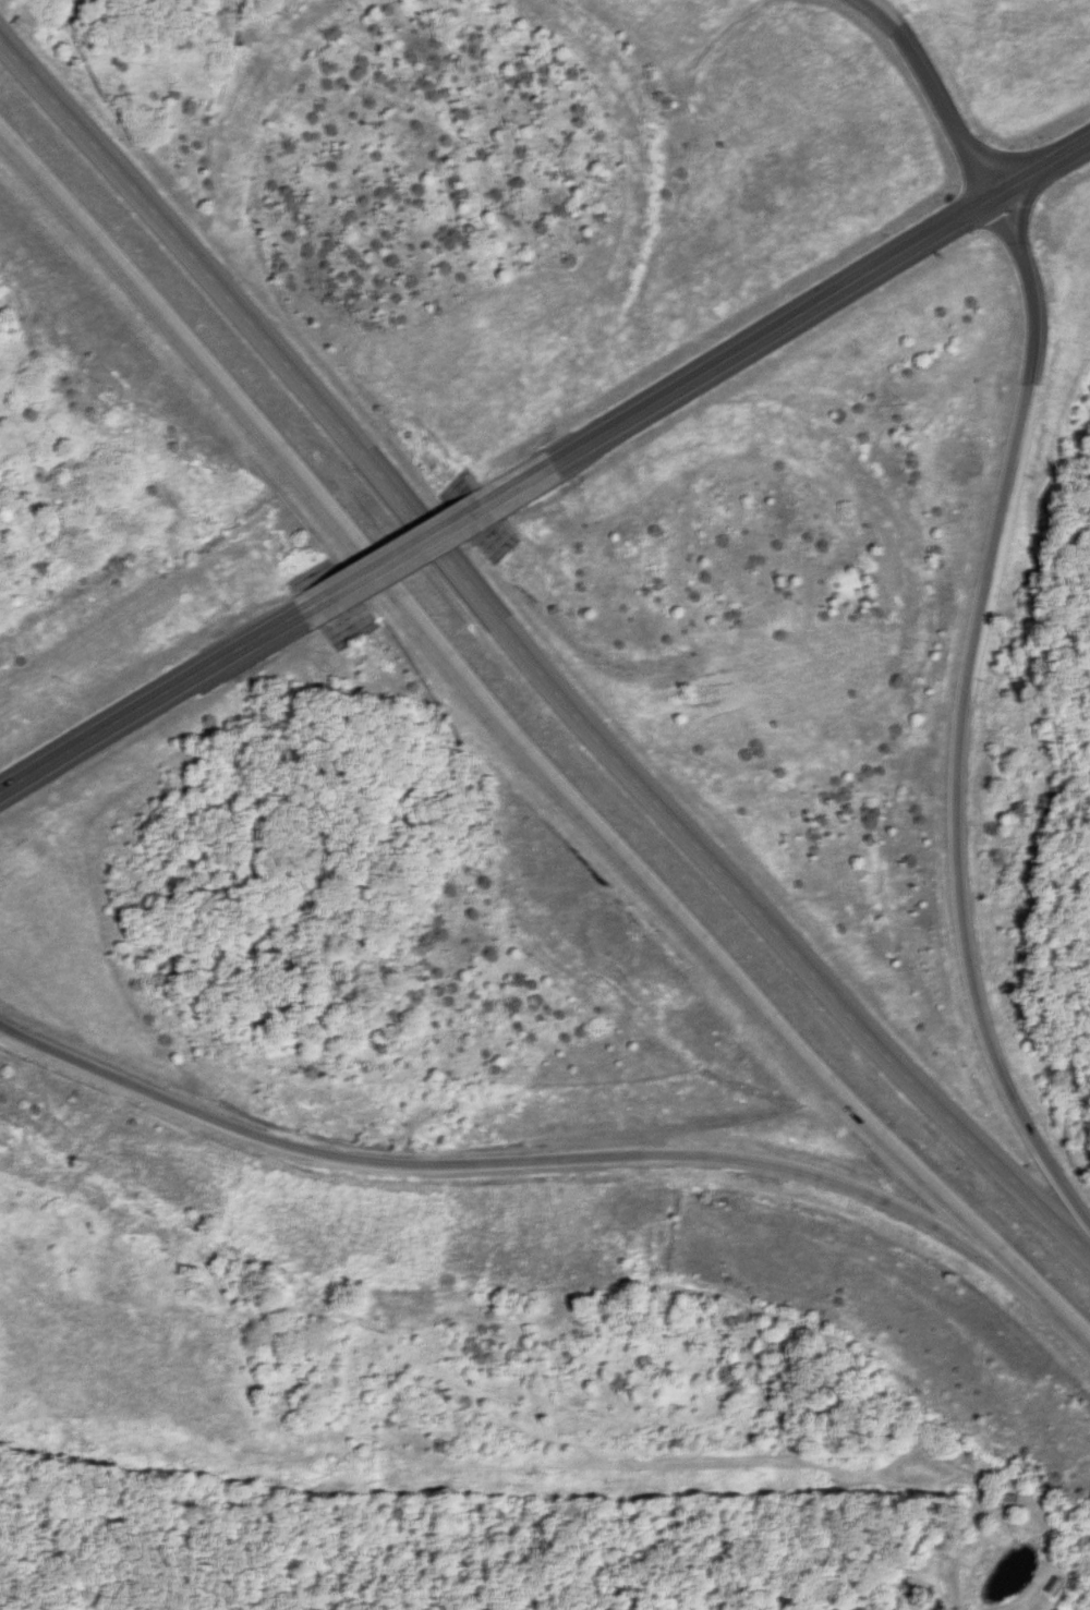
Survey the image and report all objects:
road: (944, 93)
road: (1039, 202)
road: (1019, 221)
road: (807, 315)
road: (414, 549)
road: (526, 661)
road: (152, 704)
road: (955, 755)
road: (526, 763)
road: (493, 1160)
building: (1008, 1502)
building: (1057, 1586)

